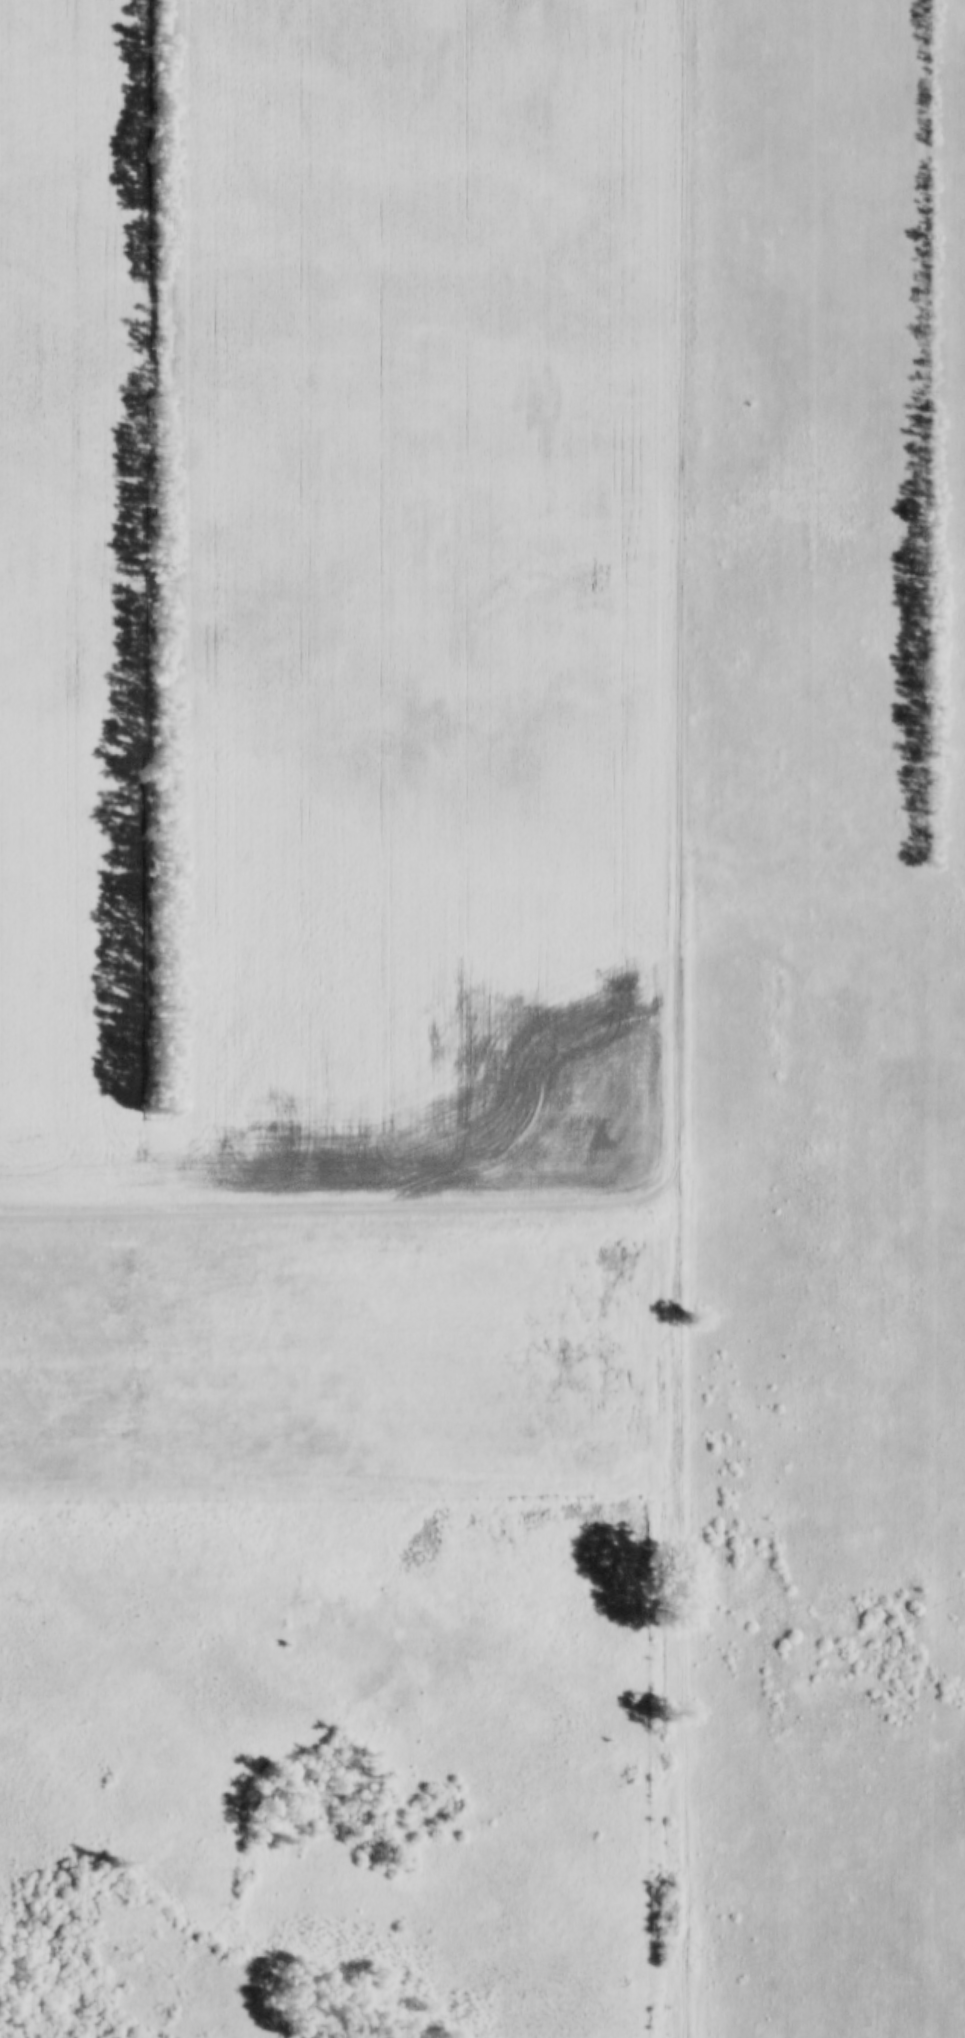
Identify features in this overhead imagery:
road: (672, 1019)

